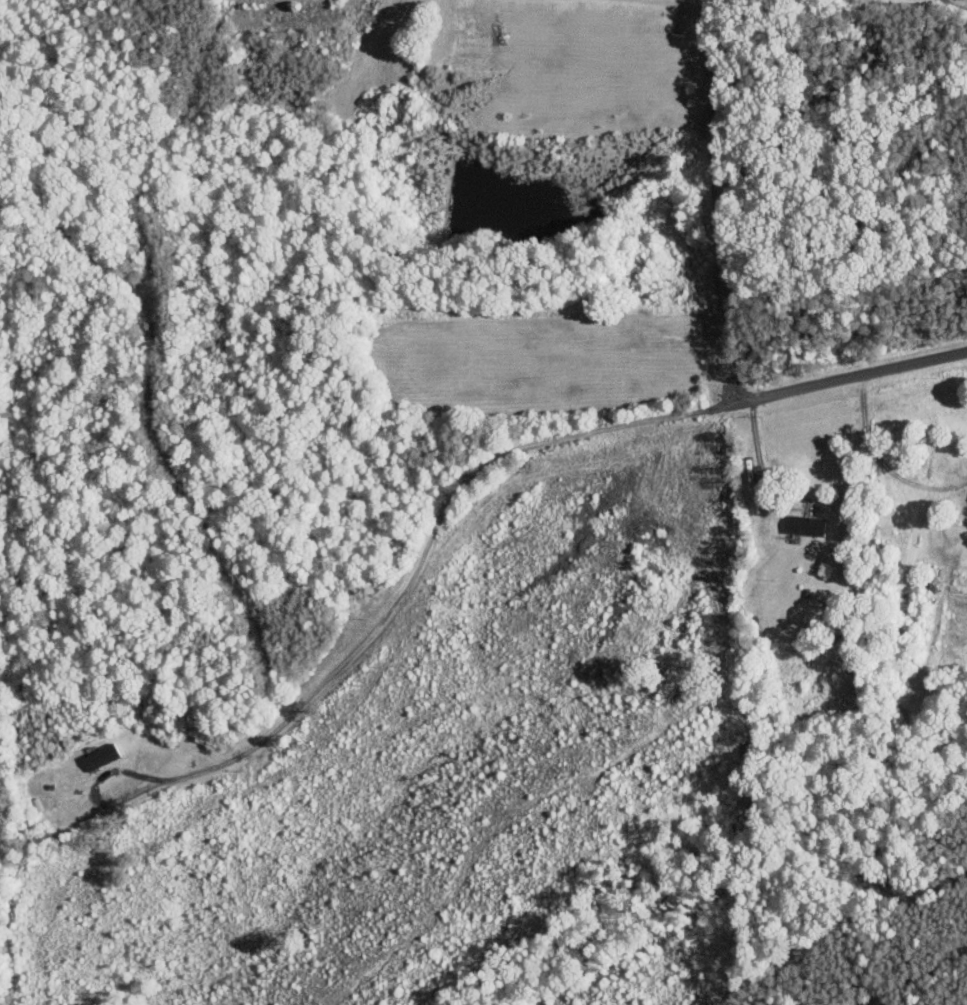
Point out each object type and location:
road: (713, 202)
road: (566, 440)
road: (757, 456)
road: (880, 464)
building: (804, 523)
road: (150, 783)

